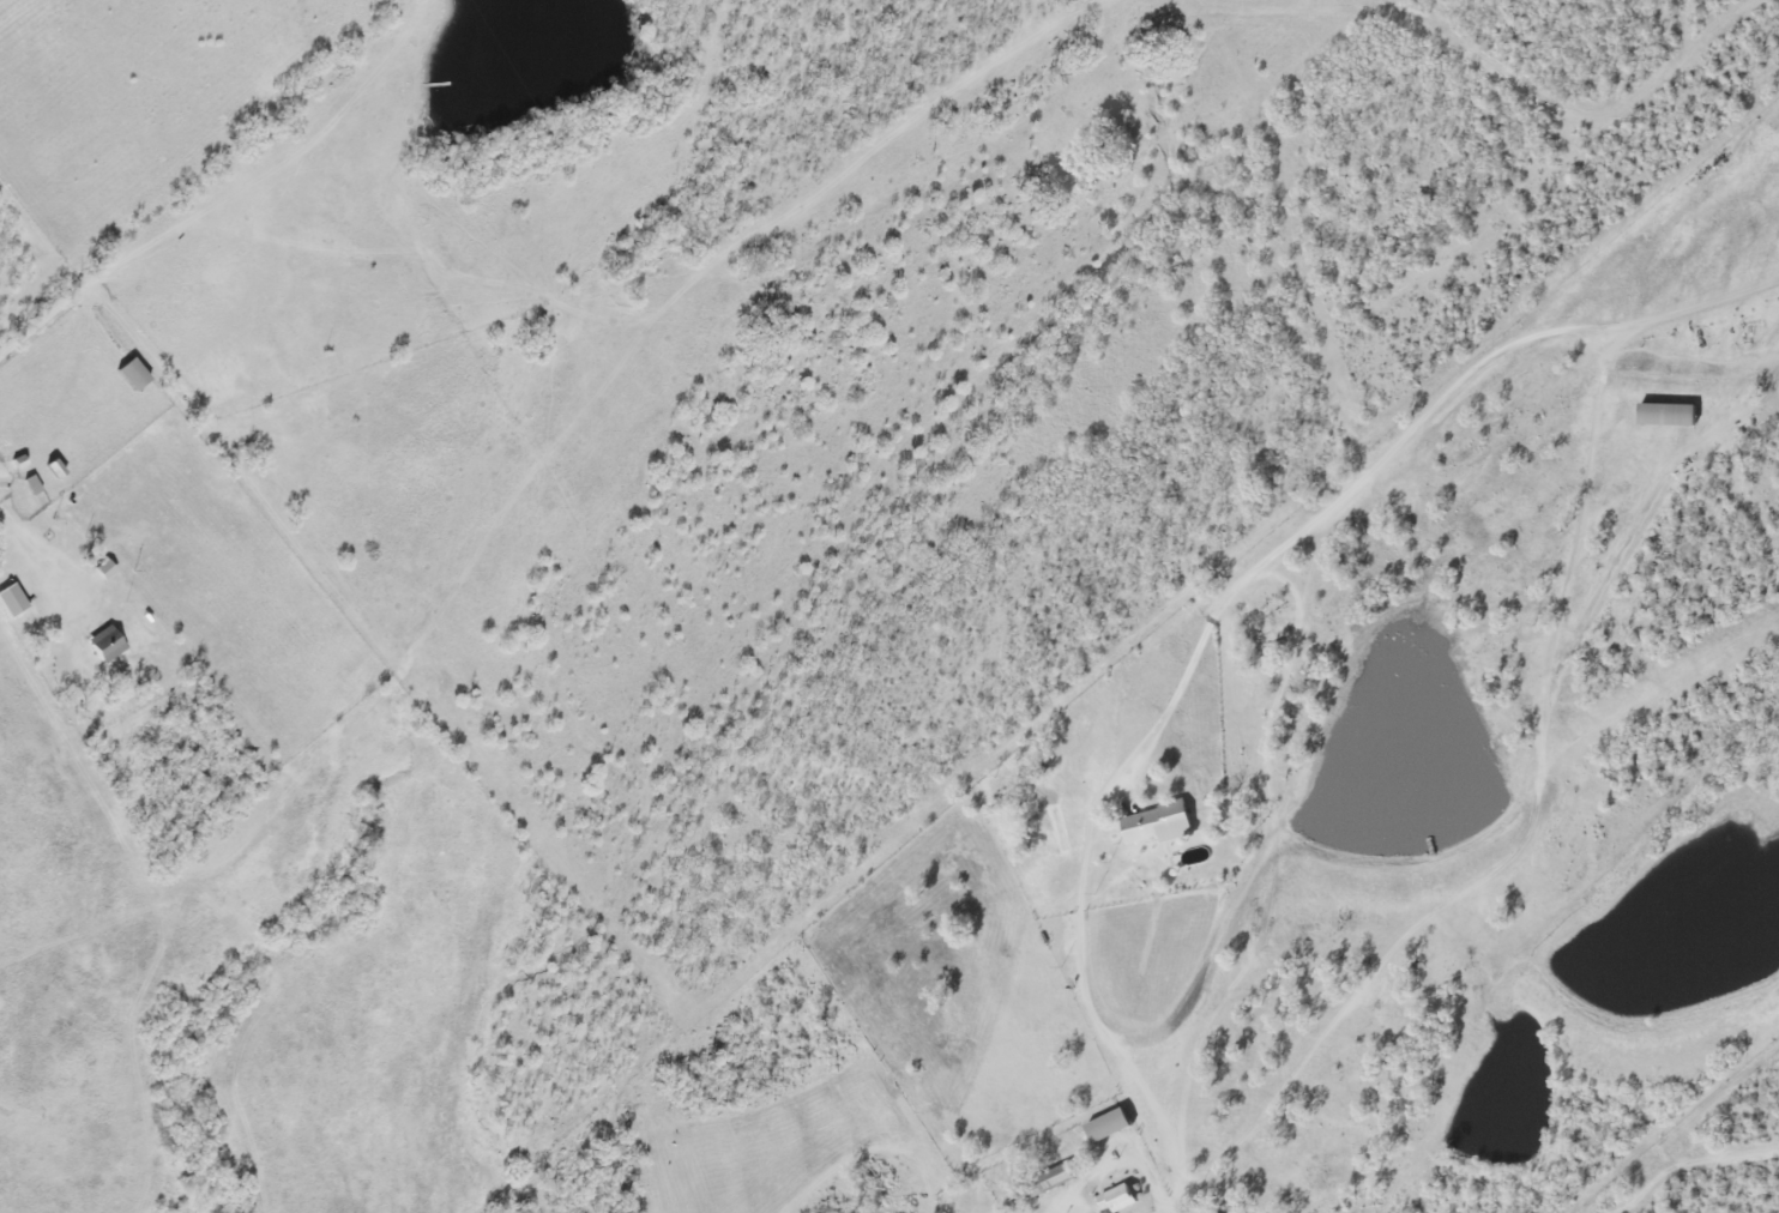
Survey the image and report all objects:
road: (134, 262)
road: (1702, 308)
building: (127, 375)
building: (1666, 415)
building: (29, 485)
road: (1242, 590)
building: (8, 602)
building: (1157, 823)
road: (1469, 889)
building: (1105, 1126)
building: (1116, 1199)

